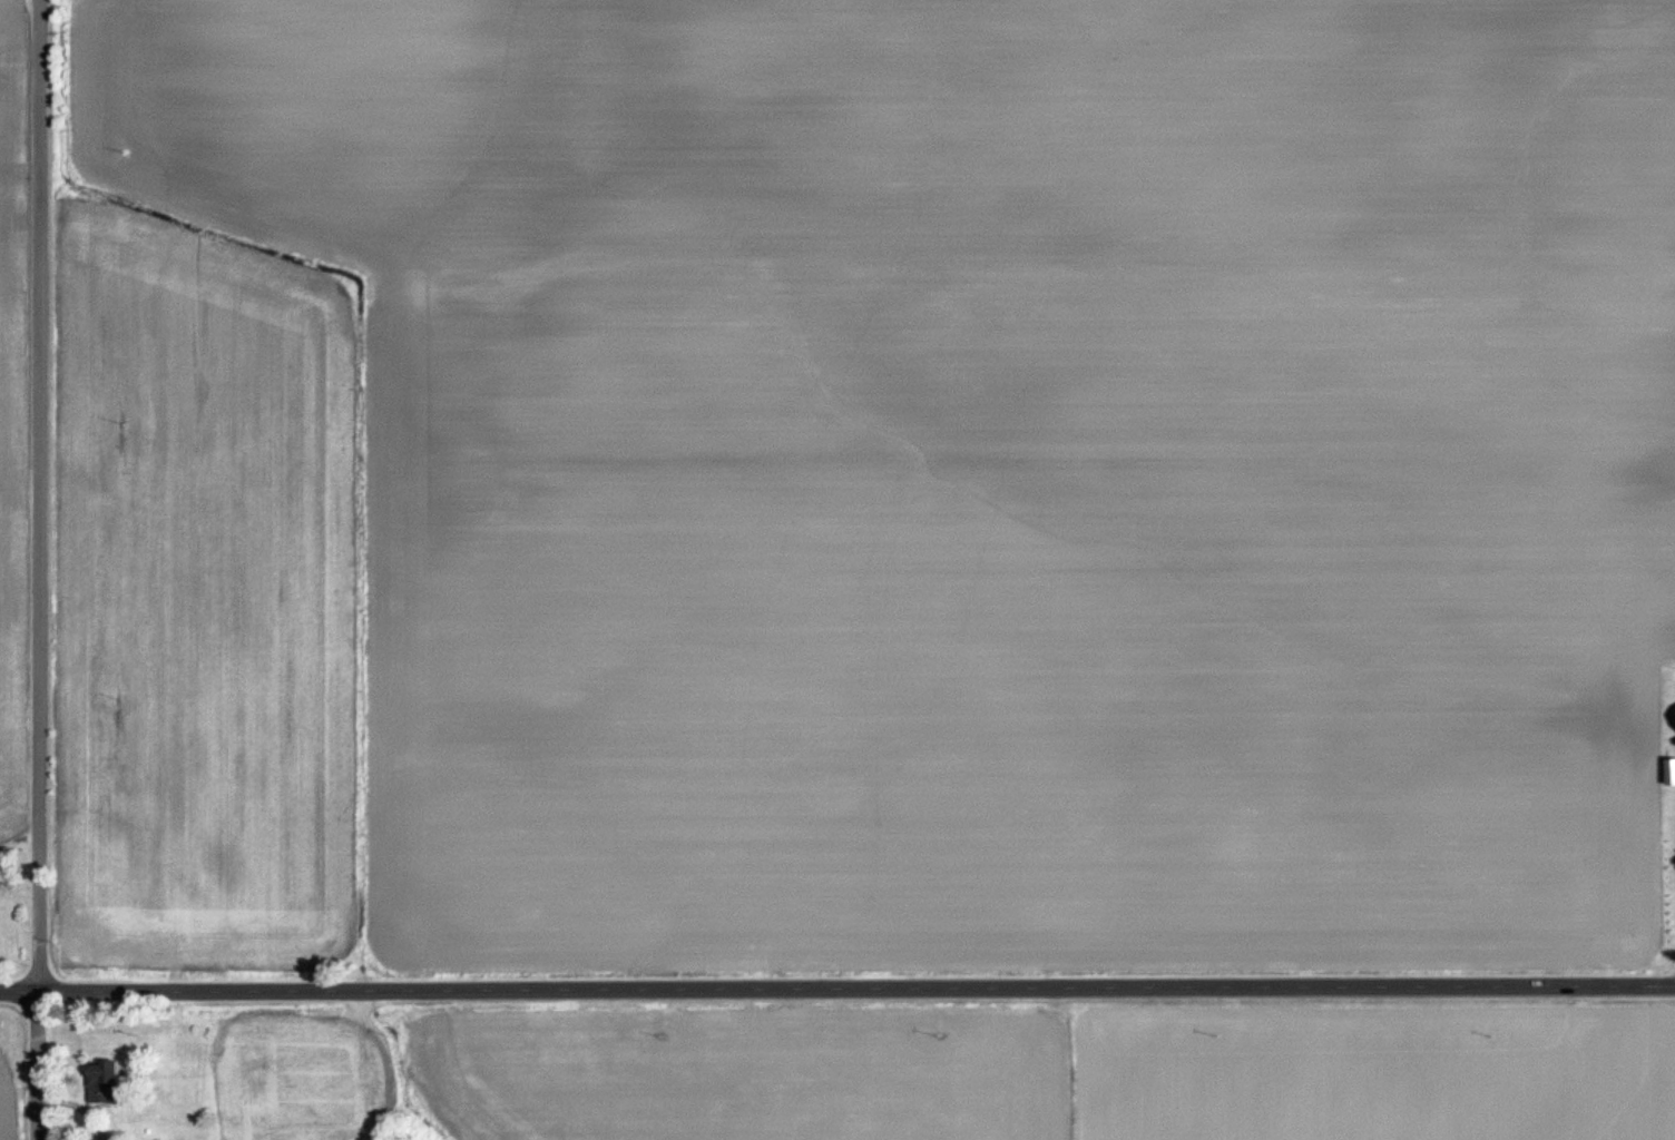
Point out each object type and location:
road: (39, 570)
road: (837, 989)
building: (109, 1082)
road: (77, 1107)

